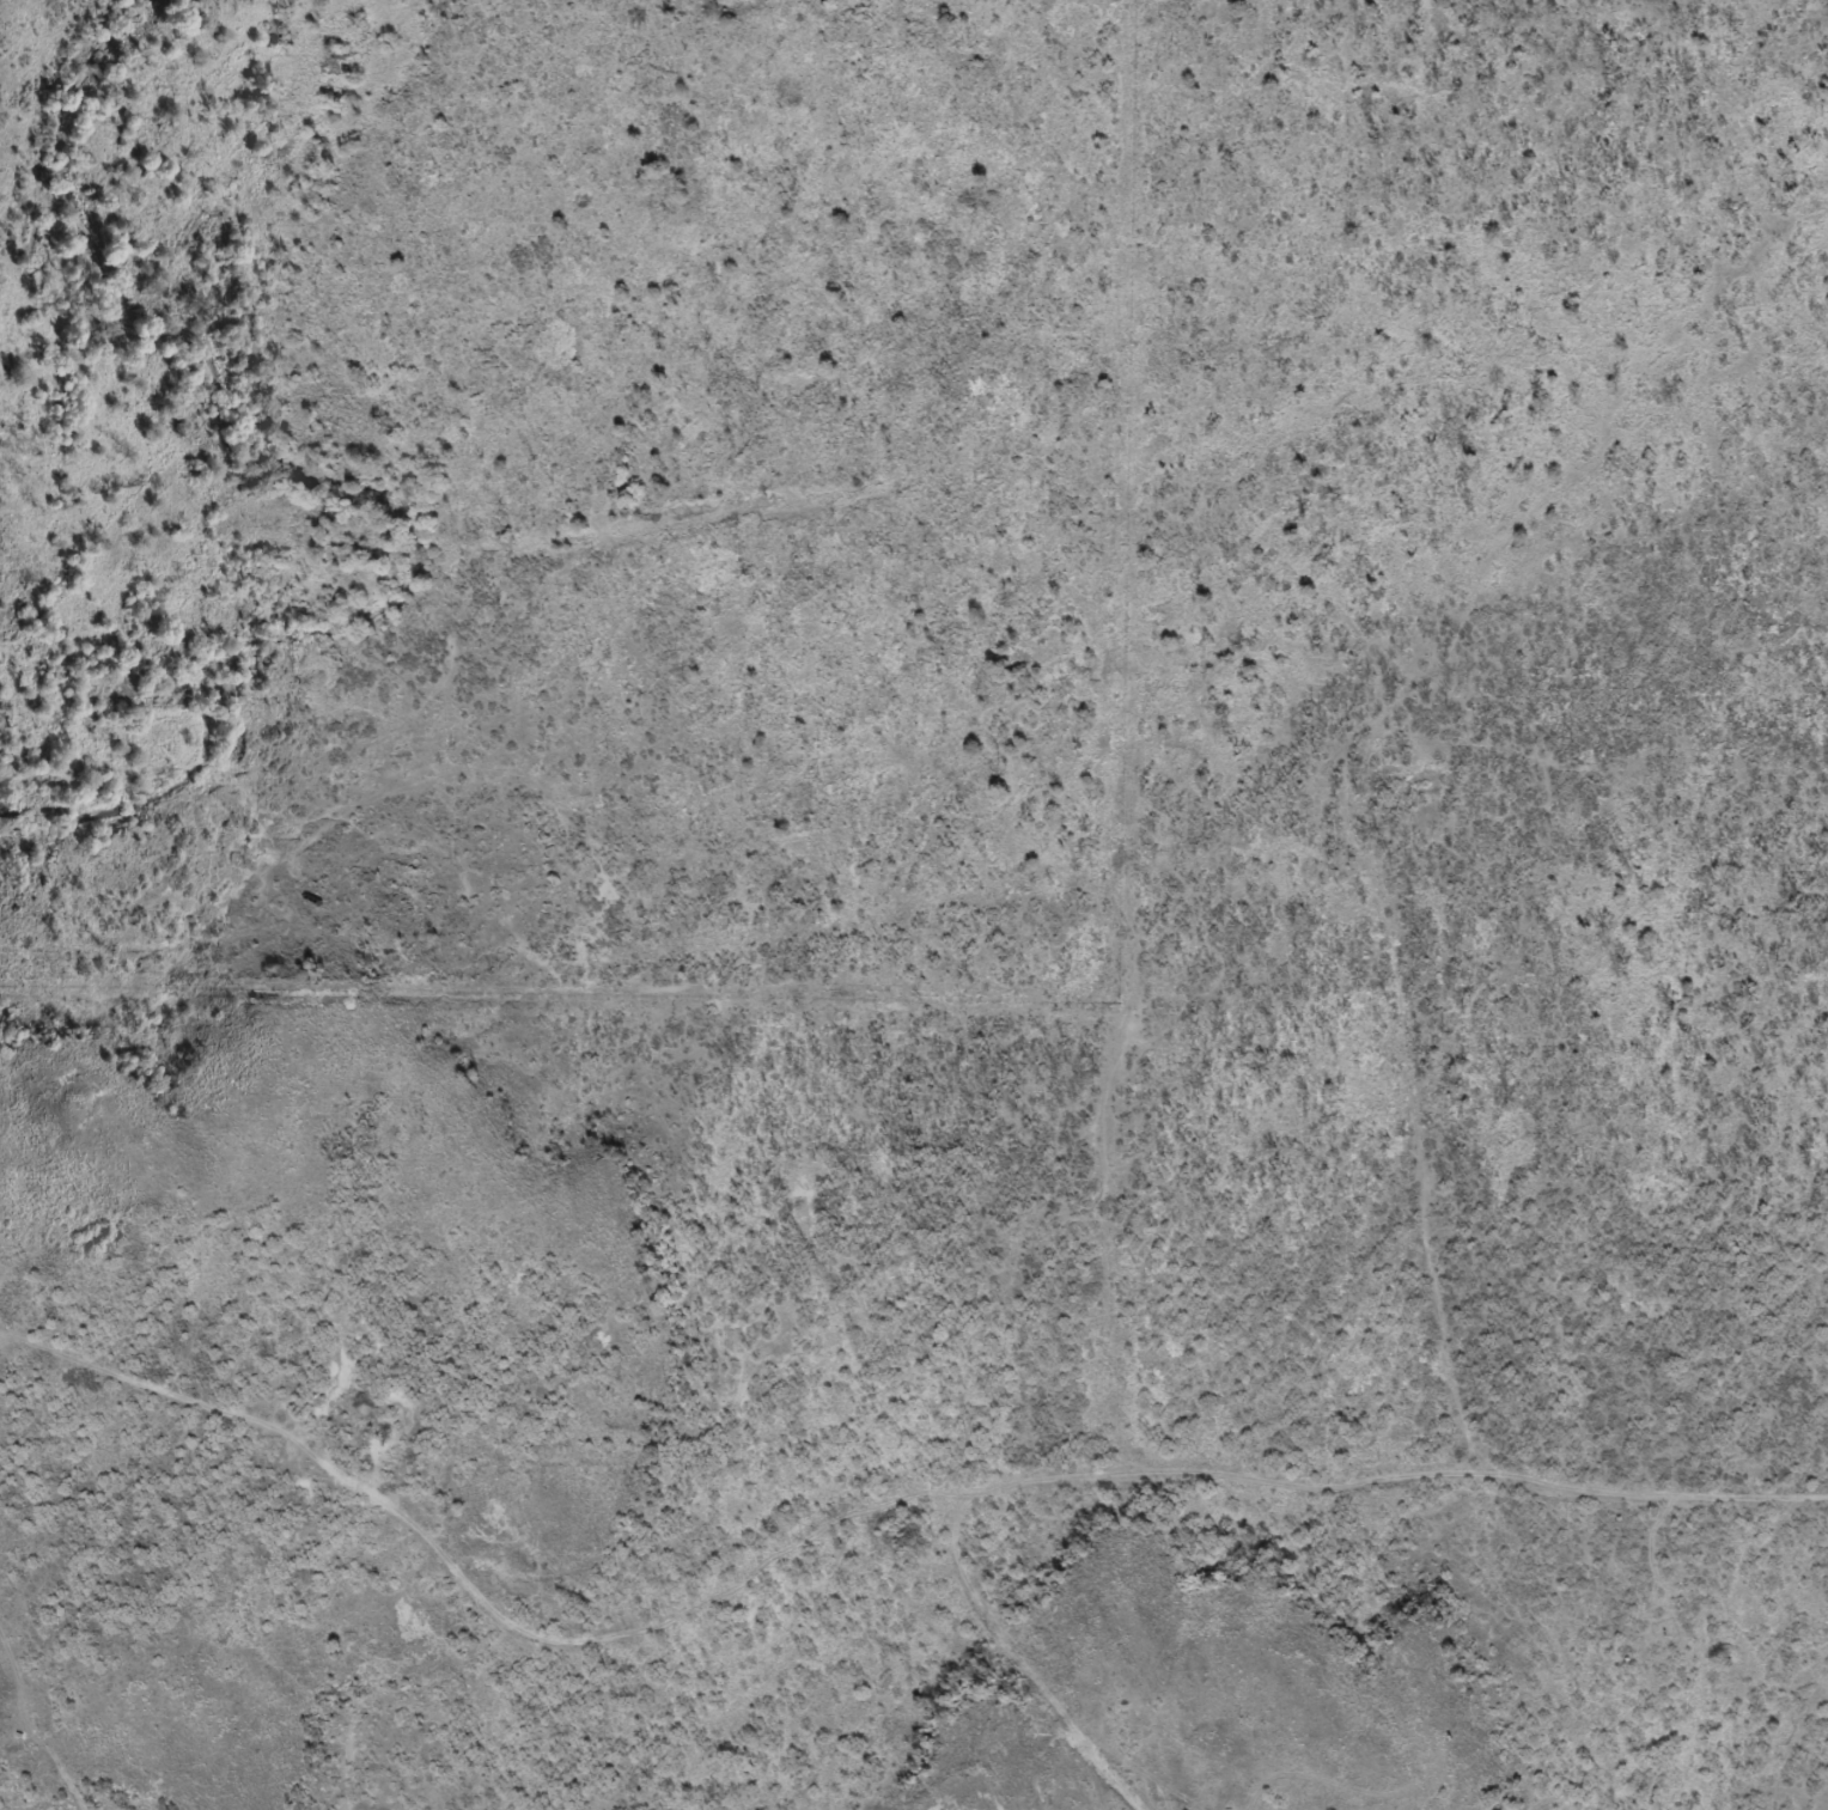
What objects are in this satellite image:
road: (873, 1556)
road: (981, 1687)
road: (653, 1731)

